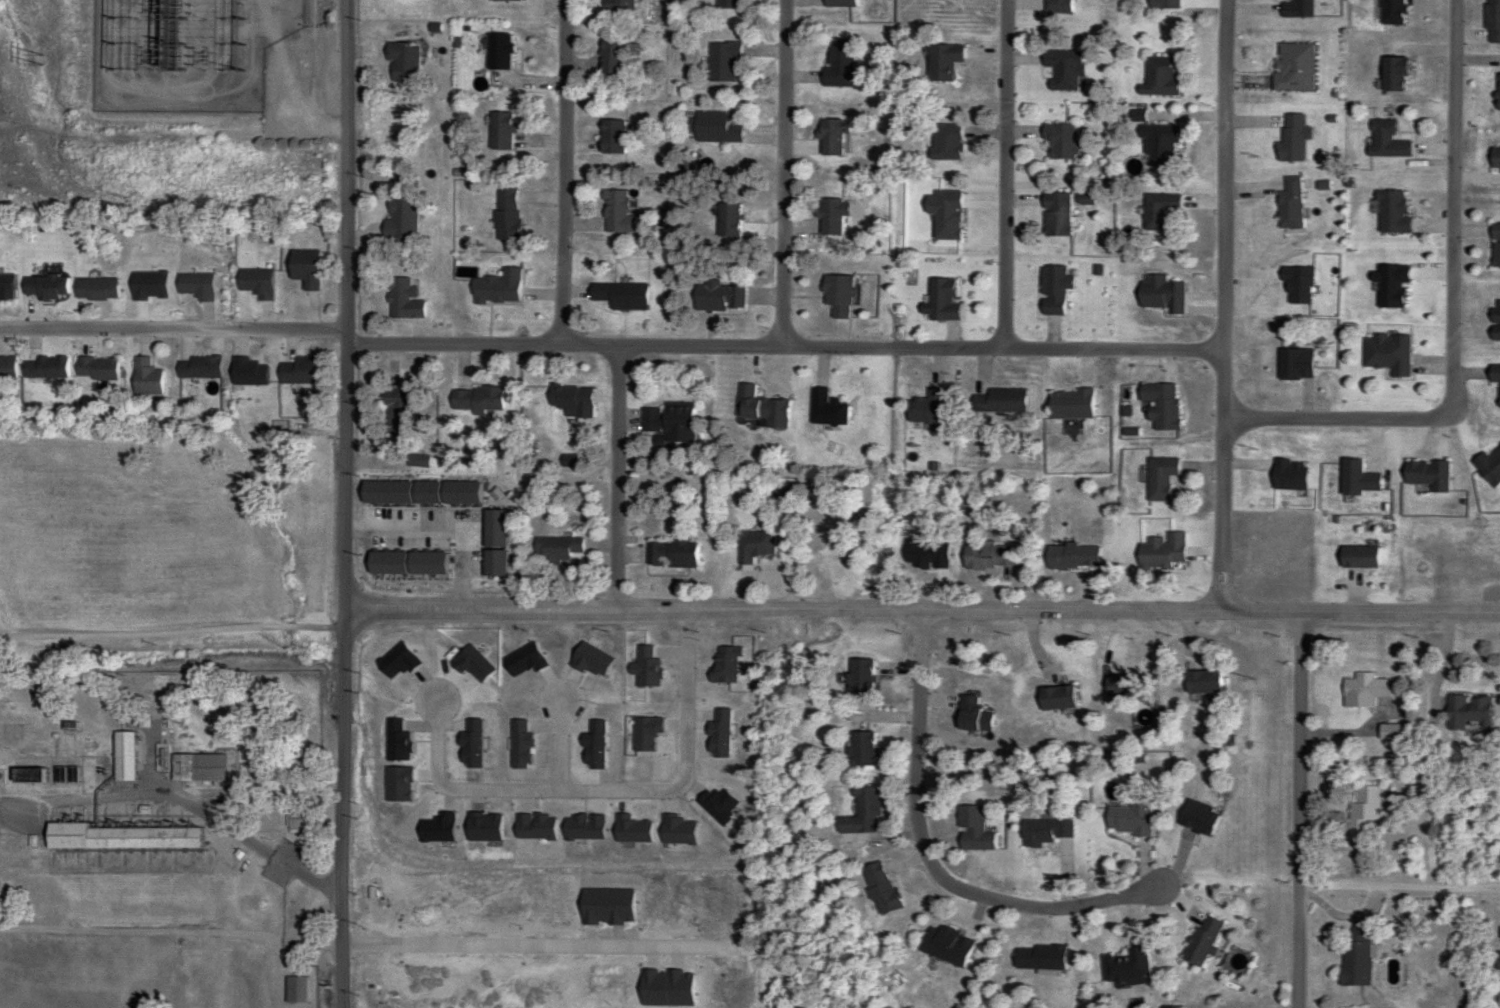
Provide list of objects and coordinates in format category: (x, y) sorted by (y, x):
building: (726, 3)
building: (839, 3)
building: (1165, 4)
building: (617, 6)
building: (1055, 6)
building: (1391, 12)
power substation: (189, 52)
building: (497, 52)
building: (611, 57)
building: (402, 61)
building: (942, 61)
building: (721, 62)
building: (839, 62)
building: (1293, 67)
building: (1063, 69)
building: (1392, 74)
building: (1158, 76)
building: (1497, 93)
building: (712, 128)
building: (499, 131)
building: (610, 137)
building: (833, 138)
building: (1385, 140)
building: (1058, 142)
building: (944, 143)
building: (1158, 144)
building: (1494, 158)
road: (454, 170)
road: (564, 172)
road: (1004, 172)
building: (1289, 204)
road: (1451, 204)
building: (1158, 210)
building: (615, 213)
building: (1390, 213)
building: (944, 214)
building: (1054, 214)
building: (505, 215)
building: (831, 216)
building: (399, 220)
building: (727, 220)
building: (1495, 245)
building: (303, 268)
building: (147, 285)
building: (5, 286)
building: (43, 286)
building: (1390, 286)
building: (496, 288)
building: (95, 289)
building: (1053, 289)
building: (1160, 294)
building: (836, 296)
building: (615, 297)
building: (717, 298)
building: (940, 300)
building: (401, 301)
road: (1227, 308)
building: (1495, 320)
road: (174, 327)
road: (1003, 345)
road: (737, 349)
building: (1387, 353)
building: (43, 367)
building: (198, 367)
building: (7, 368)
building: (95, 368)
building: (298, 370)
building: (144, 377)
building: (1494, 377)
building: (475, 399)
building: (570, 400)
building: (997, 400)
building: (750, 404)
building: (1070, 404)
building: (1159, 404)
building: (926, 407)
building: (825, 409)
road: (1338, 411)
building: (392, 412)
building: (665, 419)
building: (416, 461)
building: (1489, 465)
building: (1426, 475)
road: (521, 478)
building: (1159, 478)
building: (1357, 479)
road: (620, 480)
road: (719, 481)
road: (347, 504)
building: (753, 545)
building: (555, 549)
building: (1161, 552)
building: (671, 553)
building: (987, 556)
building: (1071, 556)
building: (1358, 557)
road: (922, 616)
road: (174, 633)
building: (858, 677)
building: (1201, 682)
building: (1122, 686)
building: (1363, 691)
building: (1056, 698)
building: (971, 716)
building: (1391, 732)
road: (571, 748)
building: (860, 749)
building: (121, 757)
building: (194, 768)
road: (605, 802)
building: (1363, 811)
building: (861, 813)
road: (1303, 813)
building: (1128, 818)
building: (1198, 819)
building: (972, 830)
building: (1042, 832)
building: (118, 838)
road: (934, 853)
road: (1400, 883)
building: (879, 888)
building: (1358, 934)
building: (1200, 942)
building: (945, 947)
road: (553, 952)
building: (1039, 957)
building: (1496, 961)
building: (1124, 966)
building: (293, 990)

